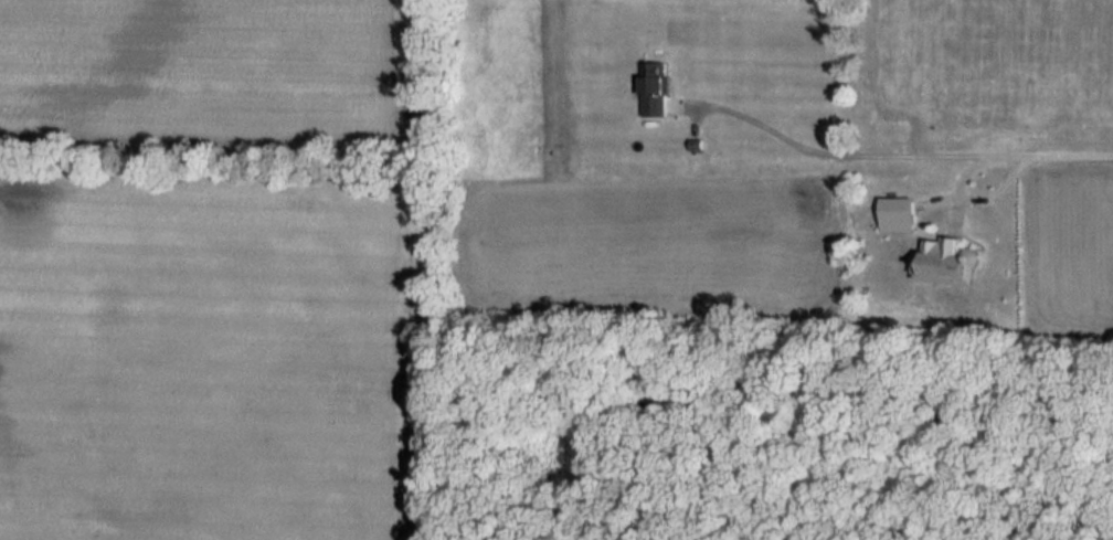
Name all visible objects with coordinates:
road: (922, 165)
building: (899, 214)
building: (948, 262)

